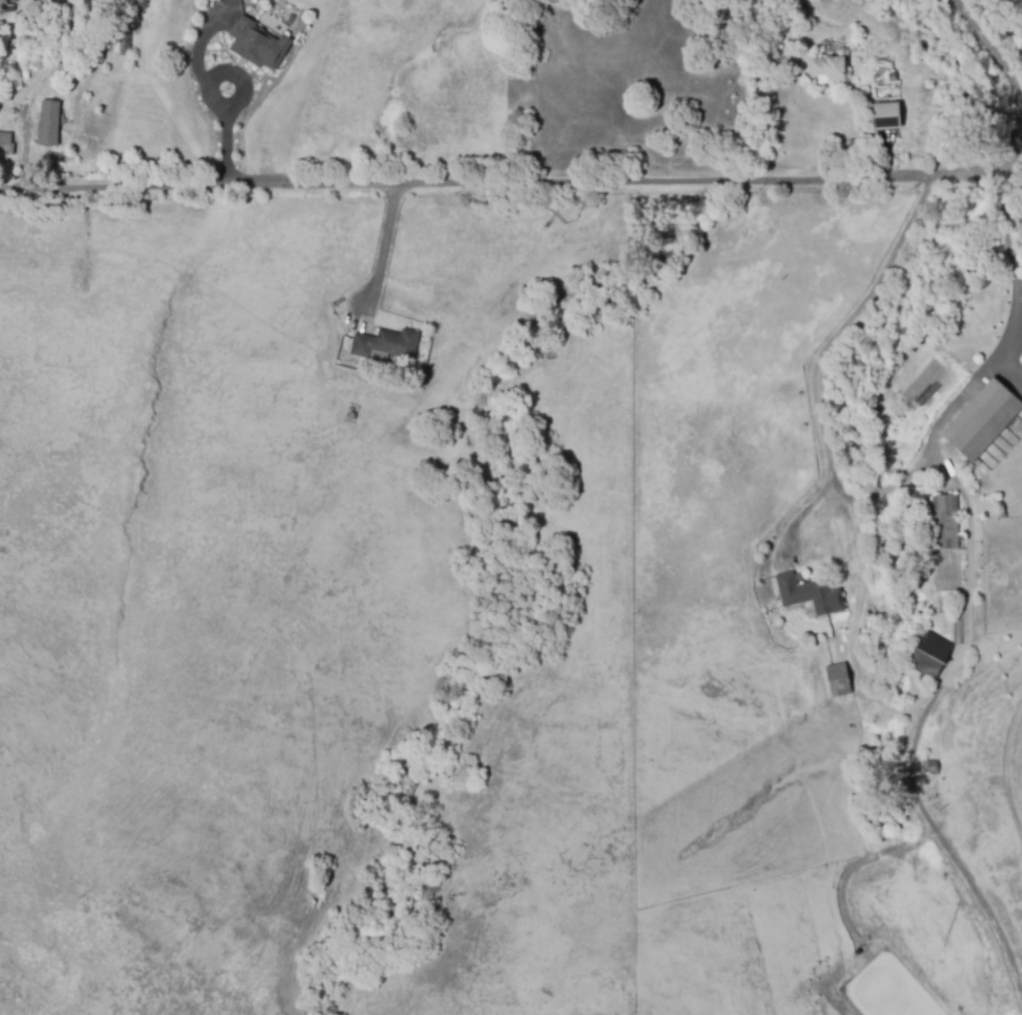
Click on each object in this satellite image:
building: (14, 2)
building: (56, 3)
building: (290, 20)
building: (124, 45)
building: (256, 47)
road: (988, 52)
building: (880, 63)
building: (827, 70)
building: (891, 81)
road: (213, 98)
building: (5, 99)
building: (887, 117)
building: (49, 125)
road: (1016, 138)
building: (5, 143)
road: (23, 154)
road: (509, 174)
road: (382, 242)
road: (1015, 272)
building: (385, 344)
road: (813, 372)
building: (981, 422)
building: (944, 524)
building: (809, 594)
building: (948, 607)
building: (929, 655)
building: (835, 679)
building: (928, 767)

